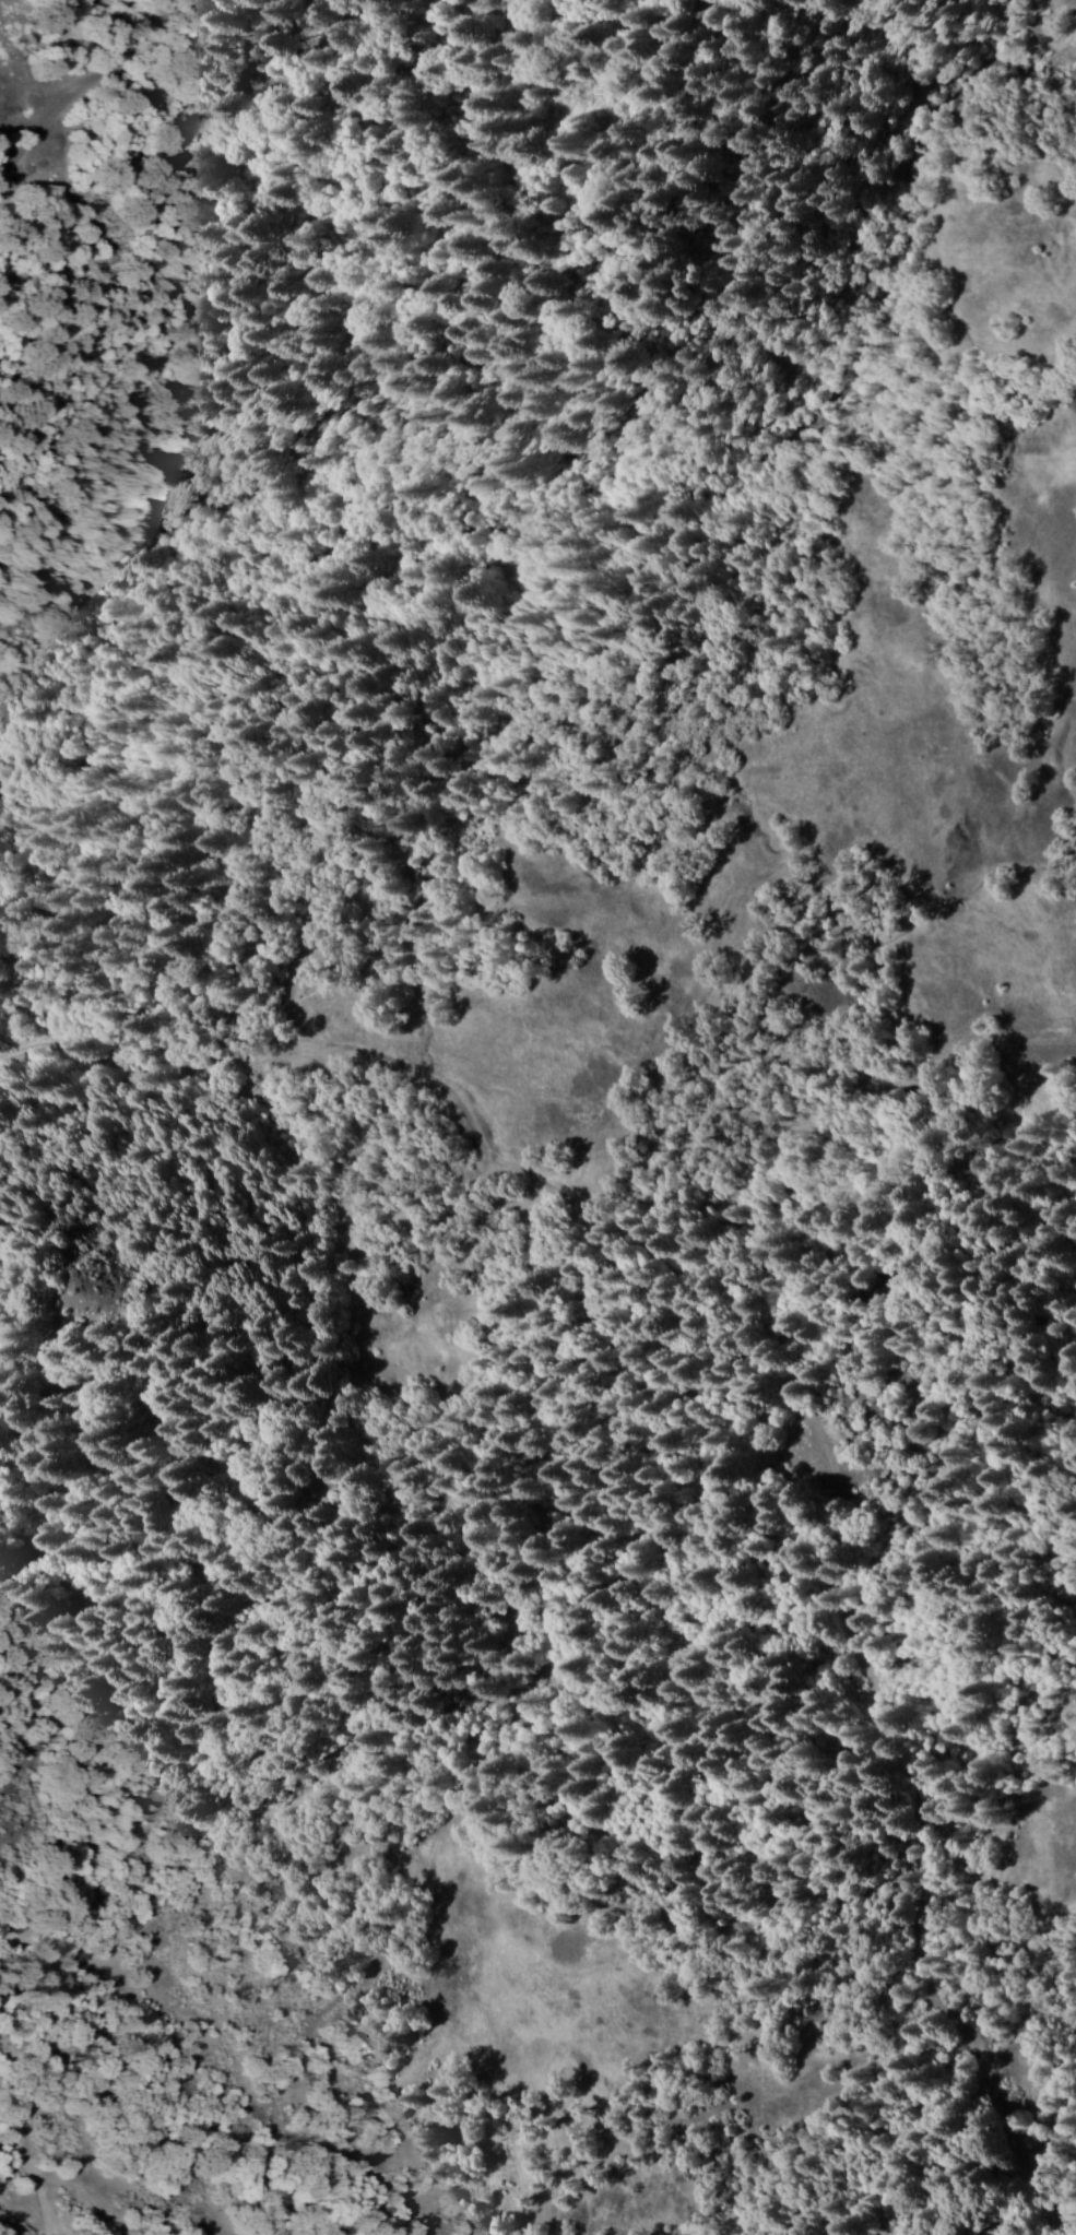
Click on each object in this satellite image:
road: (351, 97)
road: (593, 1529)

